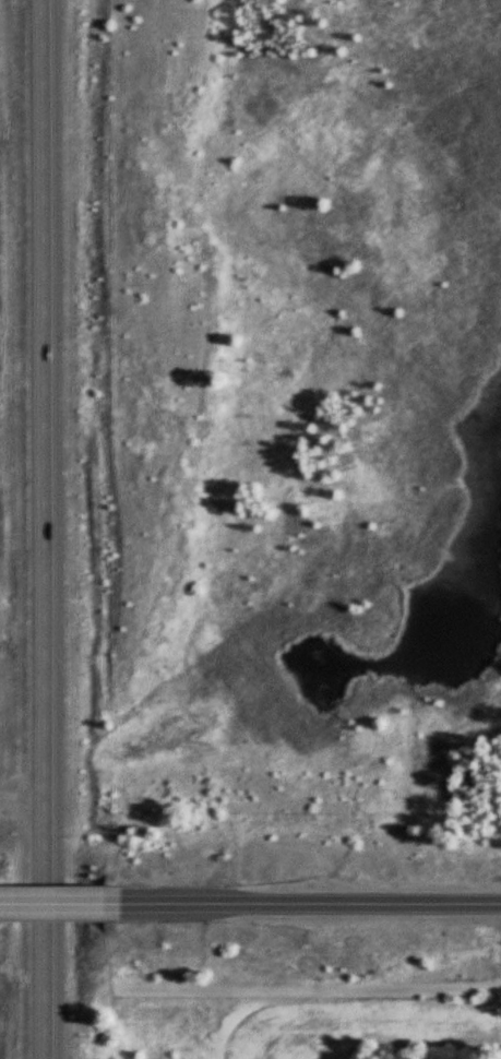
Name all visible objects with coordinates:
road: (49, 529)
road: (58, 903)
road: (309, 903)

